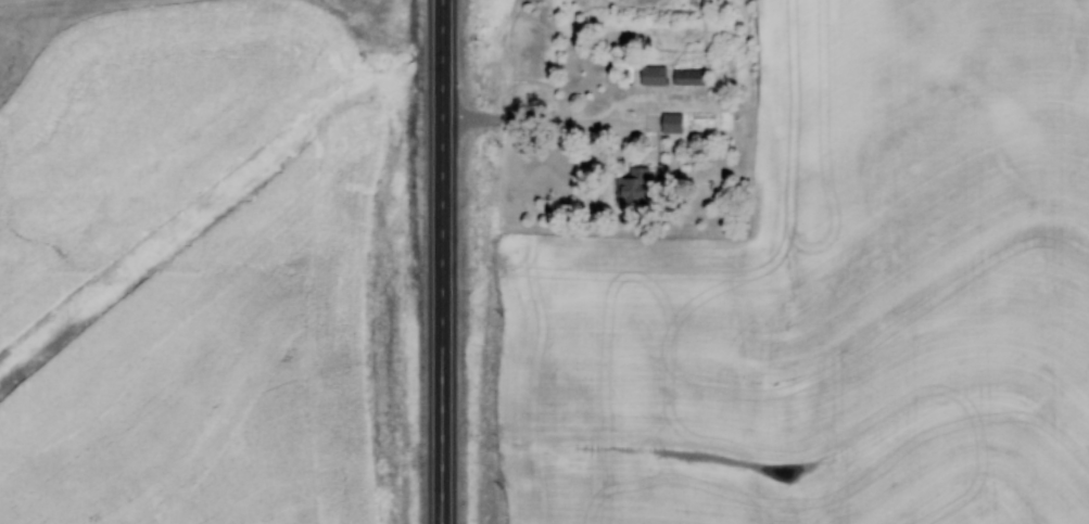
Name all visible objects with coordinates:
building: (654, 77)
building: (689, 78)
road: (549, 123)
building: (671, 125)
building: (634, 188)
road: (441, 261)

